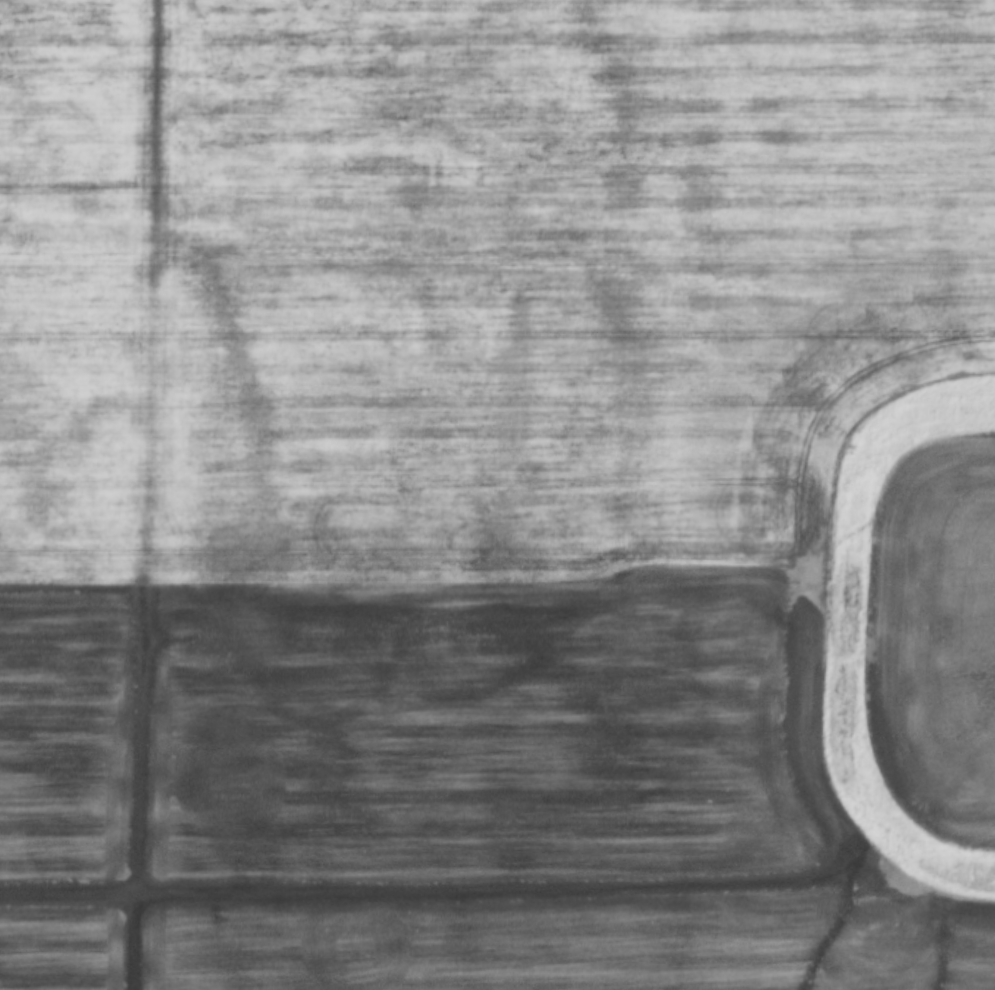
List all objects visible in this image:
crop: (457, 480)
crop: (940, 636)

